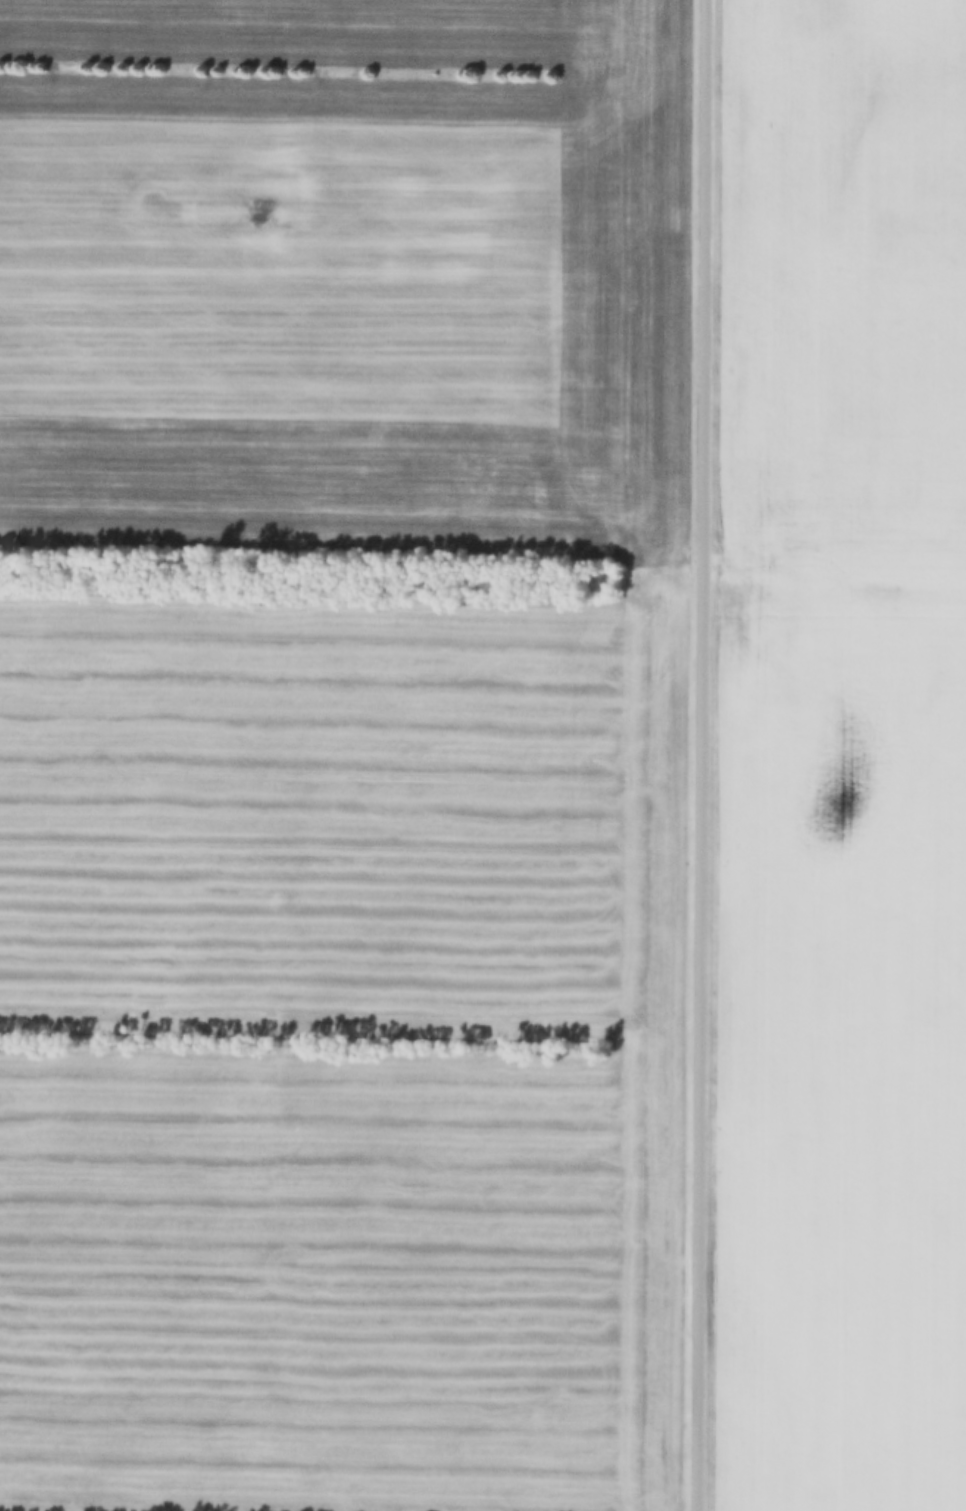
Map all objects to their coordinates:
road: (707, 755)

